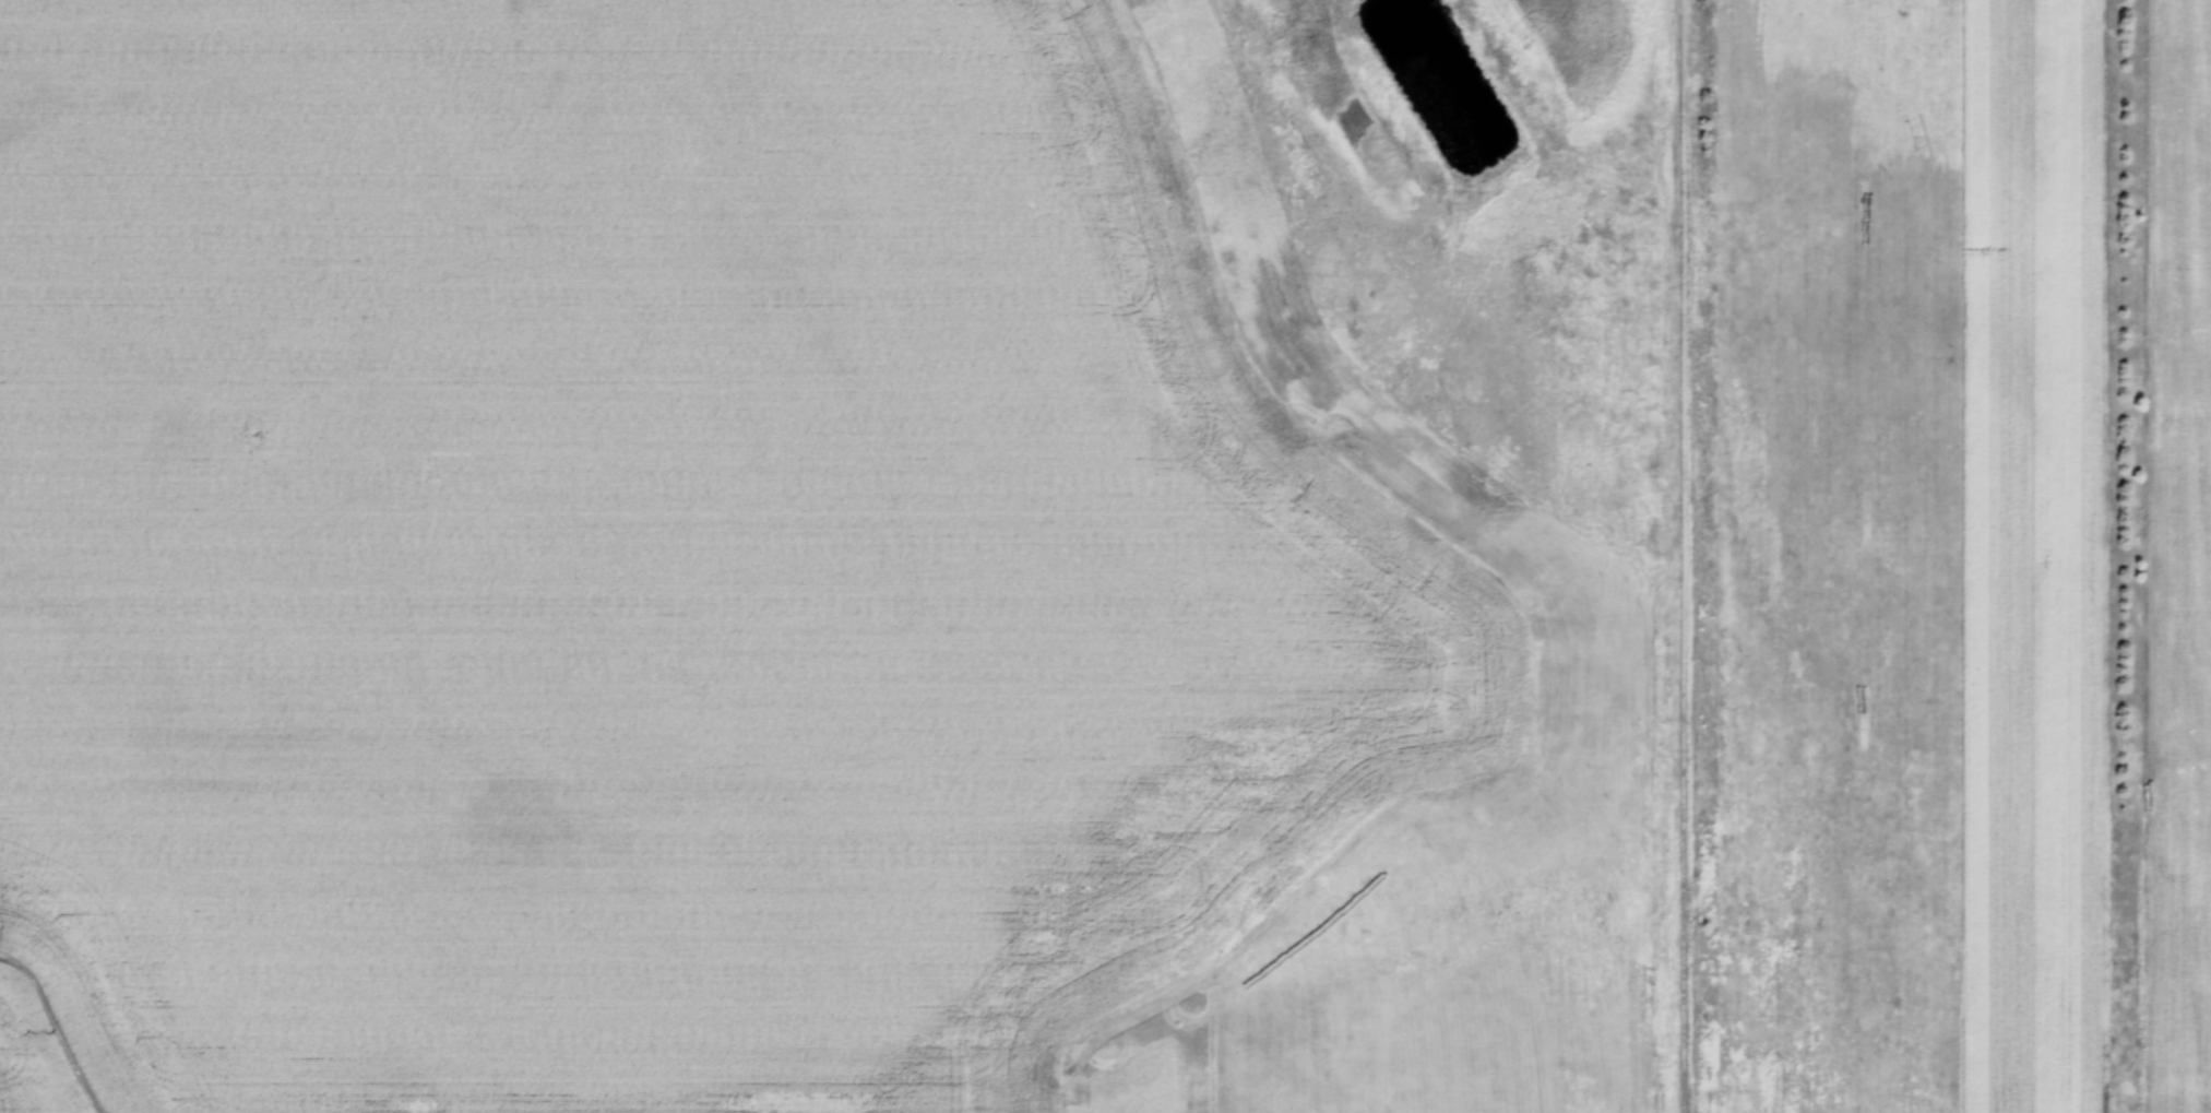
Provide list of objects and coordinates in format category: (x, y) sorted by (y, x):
road: (1685, 556)

